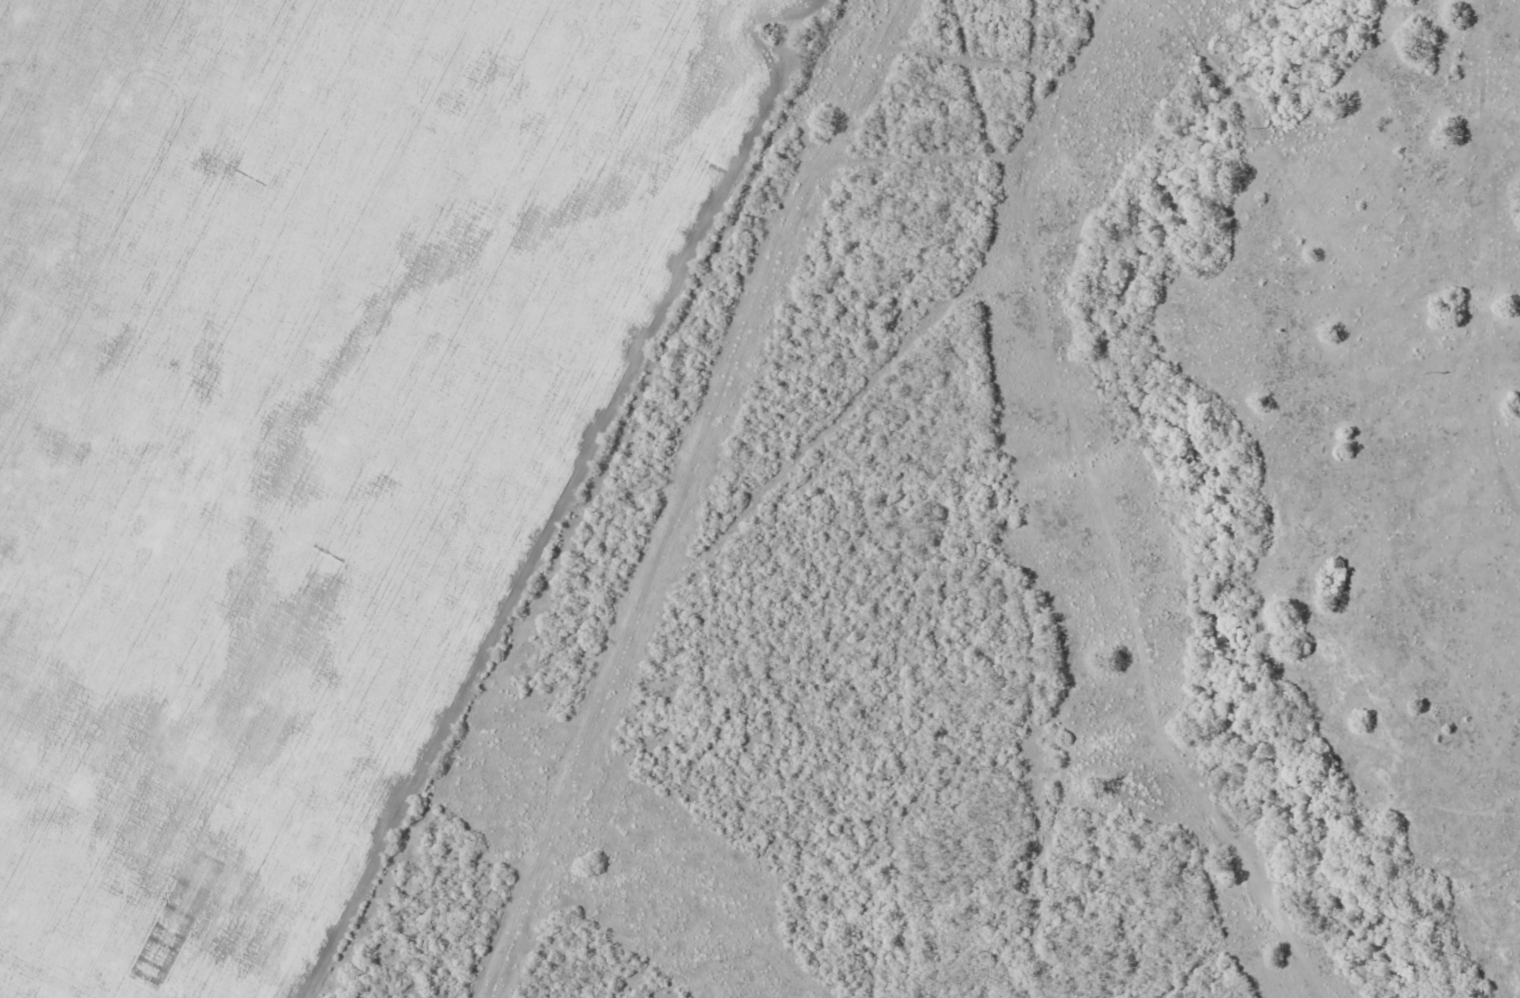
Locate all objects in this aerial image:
road: (701, 499)

